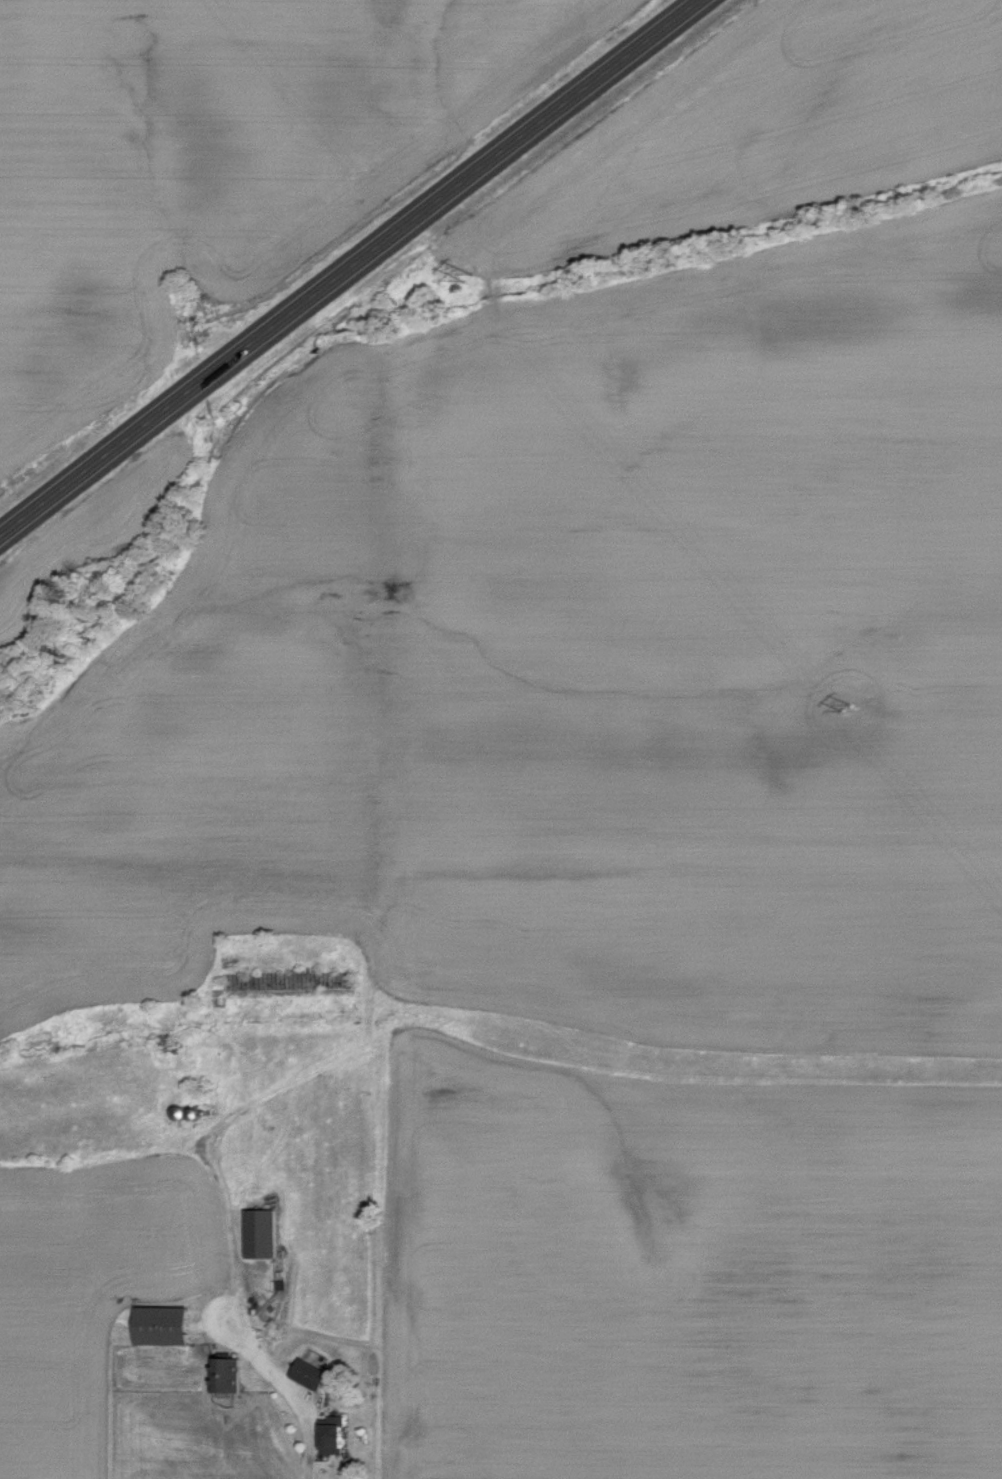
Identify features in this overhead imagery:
road: (352, 269)
power tower: (469, 276)
power tower: (841, 698)
road: (217, 1154)
building: (265, 1232)
building: (167, 1325)
building: (313, 1373)
building: (230, 1374)
building: (337, 1434)

